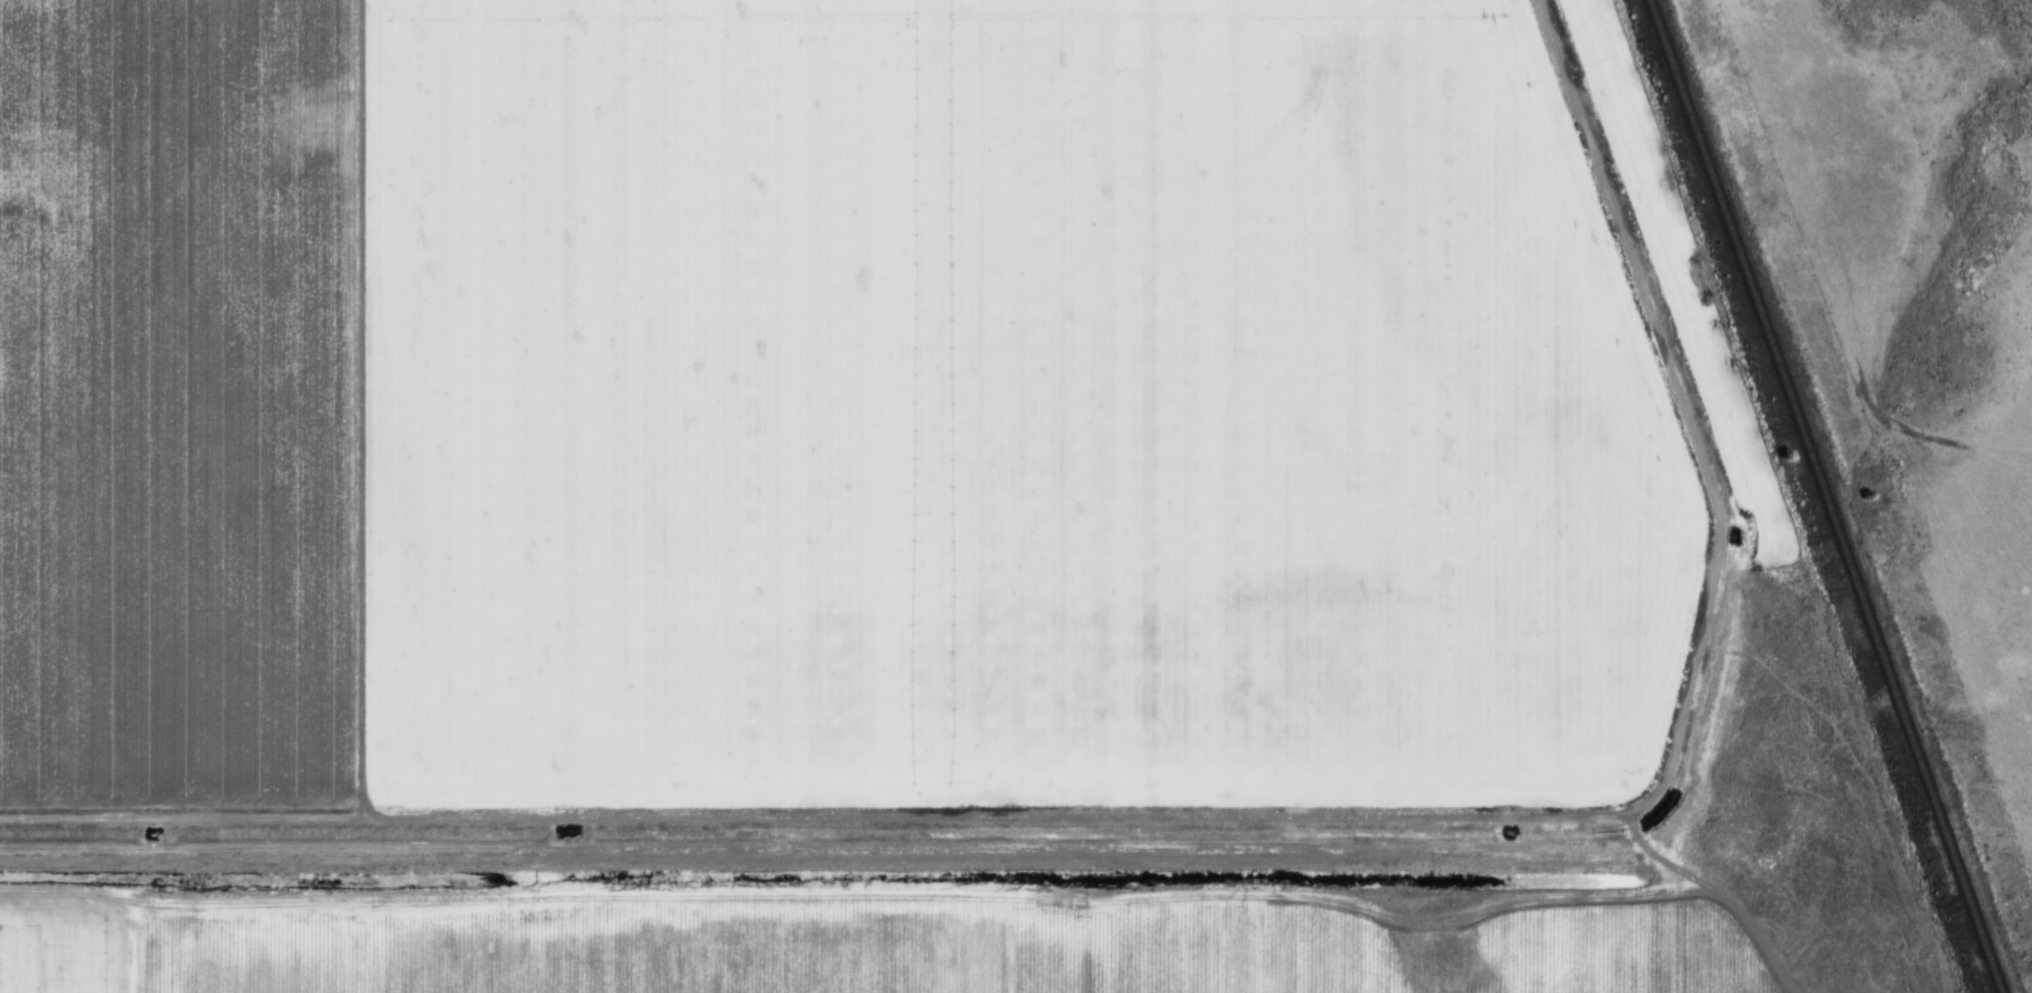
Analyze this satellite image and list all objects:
crop: (178, 403)
crop: (988, 408)
railway: (1821, 496)
road: (1727, 896)
crop: (68, 944)
crop: (947, 950)

